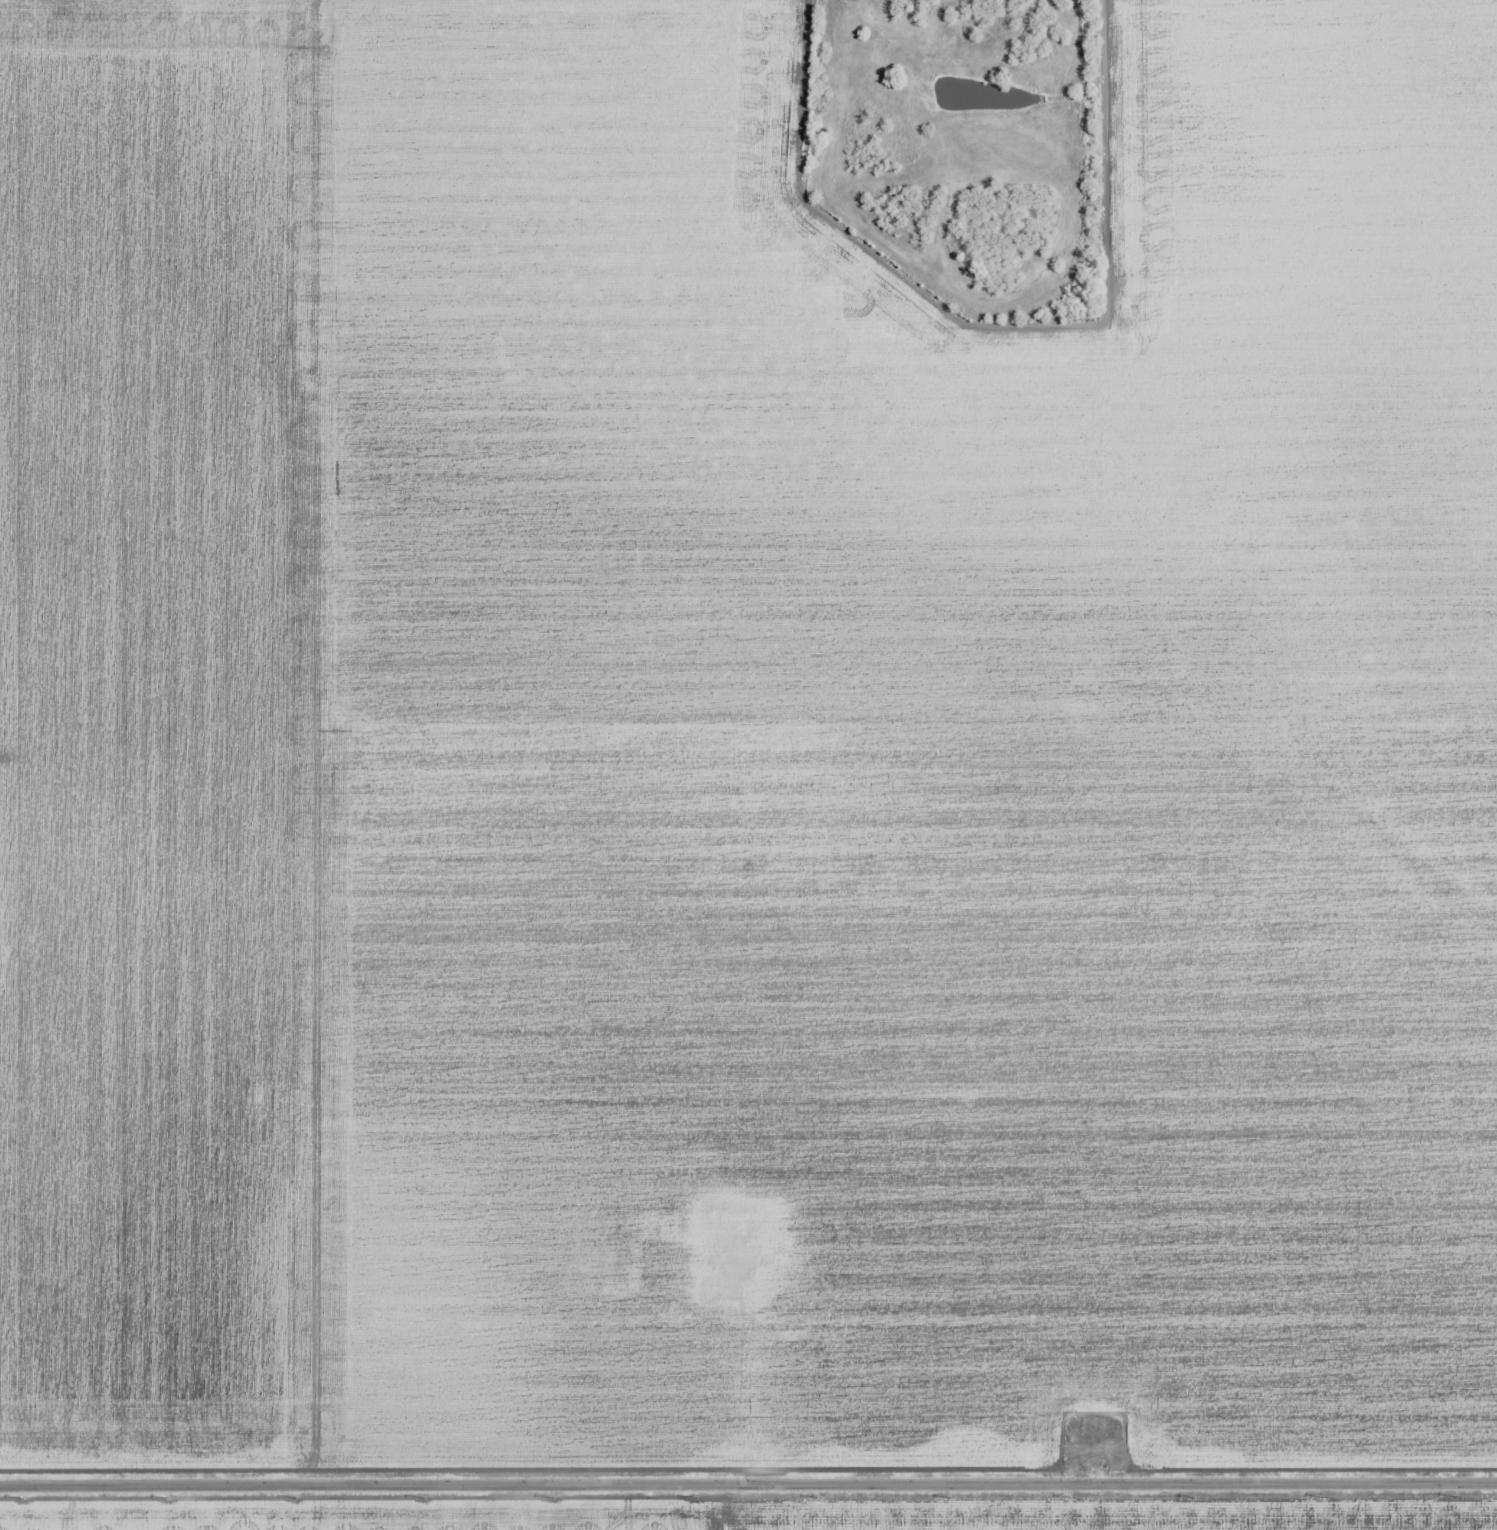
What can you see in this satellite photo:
road: (748, 1488)

